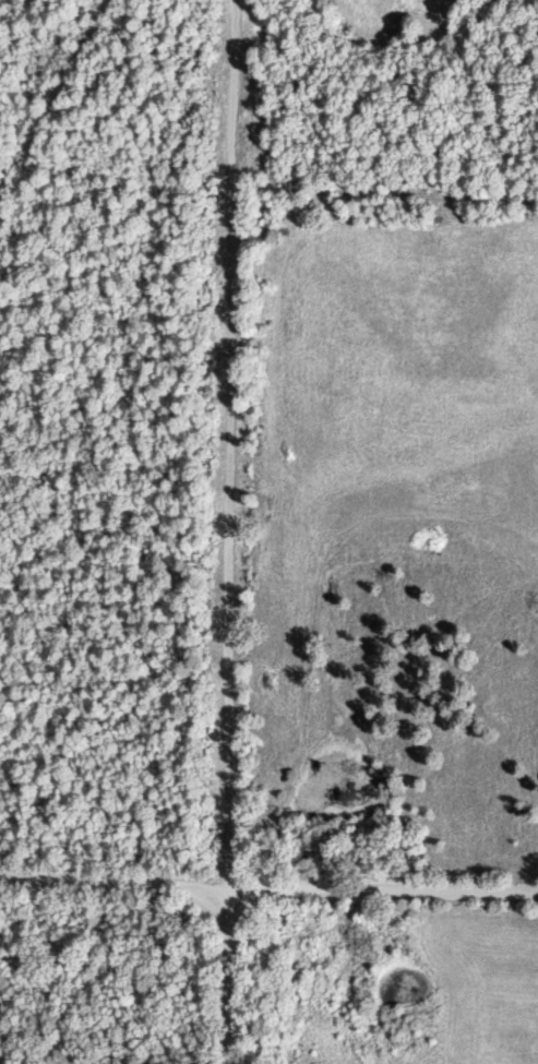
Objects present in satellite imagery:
road: (268, 890)
road: (226, 977)

